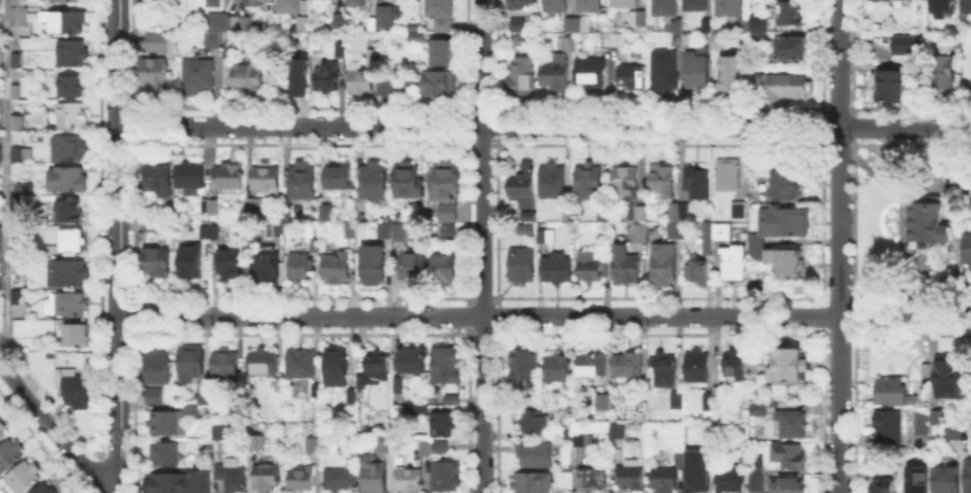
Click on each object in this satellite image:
building: (68, 0)
building: (17, 3)
building: (259, 3)
building: (360, 3)
building: (218, 4)
building: (519, 4)
building: (626, 4)
building: (556, 6)
building: (591, 6)
building: (697, 6)
building: (968, 6)
building: (295, 7)
building: (945, 7)
building: (665, 8)
building: (730, 8)
building: (790, 13)
building: (441, 14)
building: (21, 16)
building: (638, 17)
building: (384, 19)
building: (338, 21)
building: (67, 22)
building: (235, 23)
building: (678, 23)
building: (302, 24)
building: (520, 26)
building: (708, 26)
building: (583, 27)
building: (743, 27)
building: (762, 27)
building: (762, 38)
building: (419, 39)
building: (614, 40)
building: (525, 41)
building: (685, 41)
building: (157, 42)
building: (720, 42)
building: (905, 43)
building: (213, 44)
building: (794, 49)
building: (231, 51)
building: (341, 51)
building: (445, 52)
building: (74, 55)
building: (373, 55)
building: (1, 59)
building: (17, 61)
building: (970, 65)
building: (664, 73)
building: (557, 74)
building: (592, 75)
building: (699, 75)
building: (156, 76)
building: (303, 76)
building: (327, 77)
building: (634, 77)
building: (734, 77)
building: (944, 77)
building: (200, 78)
building: (250, 79)
building: (520, 79)
building: (362, 80)
building: (443, 85)
building: (787, 86)
building: (891, 86)
building: (72, 87)
building: (386, 88)
building: (16, 93)
building: (74, 116)
building: (18, 124)
road: (545, 126)
building: (69, 148)
building: (14, 152)
building: (18, 156)
road: (5, 175)
building: (231, 176)
building: (731, 176)
building: (158, 177)
building: (191, 178)
building: (267, 178)
building: (341, 179)
building: (69, 180)
building: (305, 180)
building: (409, 180)
building: (376, 181)
building: (554, 182)
building: (663, 182)
building: (448, 183)
building: (590, 183)
building: (699, 183)
building: (785, 184)
building: (26, 188)
building: (524, 190)
building: (631, 199)
building: (15, 204)
building: (255, 205)
building: (212, 209)
building: (329, 209)
building: (742, 211)
building: (70, 212)
building: (449, 213)
building: (682, 213)
building: (569, 215)
building: (930, 223)
building: (153, 227)
building: (525, 229)
building: (384, 230)
building: (448, 231)
building: (206, 233)
building: (216, 233)
building: (401, 233)
building: (17, 236)
building: (715, 236)
building: (1, 237)
building: (543, 237)
building: (72, 242)
building: (758, 244)
road: (119, 246)
road: (483, 246)
road: (838, 246)
building: (967, 250)
building: (159, 262)
building: (191, 262)
building: (374, 263)
building: (590, 264)
building: (232, 265)
building: (414, 265)
building: (627, 265)
building: (734, 265)
building: (299, 266)
building: (340, 266)
building: (23, 267)
building: (523, 267)
building: (267, 268)
building: (663, 268)
building: (557, 269)
building: (446, 271)
building: (697, 273)
building: (70, 274)
building: (0, 287)
building: (19, 298)
building: (67, 305)
road: (545, 315)
building: (77, 336)
building: (263, 362)
building: (192, 364)
building: (744, 364)
building: (302, 365)
building: (376, 365)
building: (629, 365)
building: (227, 366)
building: (410, 366)
building: (447, 366)
building: (593, 366)
building: (159, 367)
building: (337, 367)
building: (525, 367)
building: (698, 367)
building: (790, 368)
building: (558, 369)
building: (665, 372)
building: (950, 378)
building: (280, 386)
building: (531, 389)
building: (76, 390)
building: (719, 393)
building: (894, 393)
building: (352, 396)
building: (155, 397)
building: (207, 398)
building: (452, 401)
building: (679, 402)
building: (710, 402)
building: (604, 403)
building: (643, 404)
building: (760, 410)
building: (192, 412)
building: (939, 418)
building: (537, 420)
building: (167, 422)
building: (443, 425)
building: (792, 425)
road: (53, 429)
building: (892, 429)
building: (619, 430)
building: (222, 431)
building: (2, 432)
building: (567, 432)
building: (953, 434)
building: (585, 441)
building: (258, 443)
building: (385, 445)
building: (314, 446)
building: (424, 448)
building: (442, 448)
building: (166, 454)
building: (11, 455)
building: (537, 455)
building: (791, 457)
building: (679, 458)
building: (699, 469)
building: (756, 473)
building: (232, 475)
building: (374, 475)
building: (447, 477)
building: (632, 477)
building: (944, 477)
building: (26, 478)
building: (267, 478)
building: (341, 478)
building: (915, 478)
building: (969, 478)
building: (665, 479)
building: (731, 479)
building: (302, 480)
building: (411, 480)
building: (595, 480)
building: (567, 481)
building: (180, 483)
building: (533, 483)
building: (789, 486)
building: (885, 487)
building: (690, 488)
building: (48, 489)
building: (1, 491)

